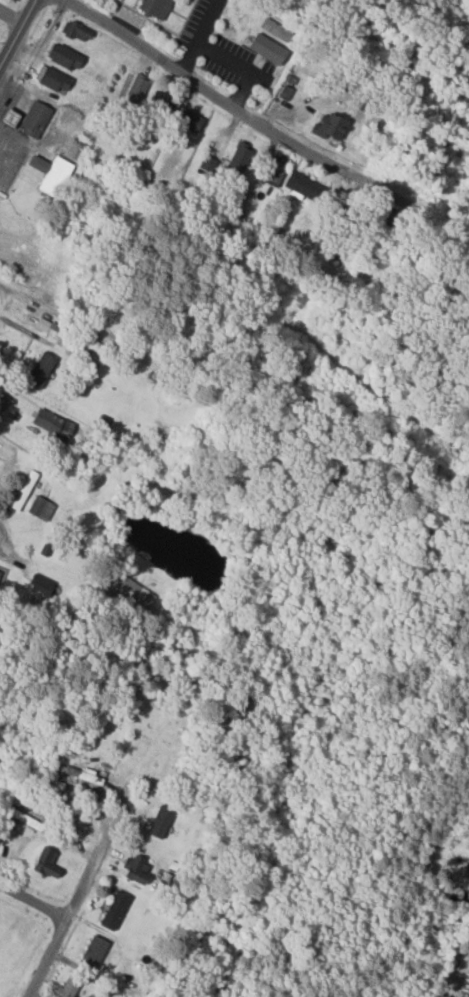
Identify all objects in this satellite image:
building: (154, 7)
road: (207, 21)
building: (276, 29)
road: (17, 31)
building: (76, 31)
building: (267, 48)
building: (64, 56)
road: (227, 58)
building: (52, 78)
building: (137, 88)
building: (160, 99)
road: (231, 106)
building: (8, 116)
building: (34, 119)
building: (190, 120)
building: (329, 126)
building: (239, 159)
building: (208, 163)
building: (275, 170)
building: (51, 173)
building: (304, 187)
building: (274, 232)
building: (41, 370)
building: (52, 424)
building: (24, 490)
building: (40, 508)
building: (0, 572)
building: (41, 587)
building: (128, 591)
building: (160, 822)
building: (45, 863)
building: (136, 869)
road: (33, 898)
building: (114, 910)
road: (68, 911)
building: (93, 953)
building: (67, 988)

